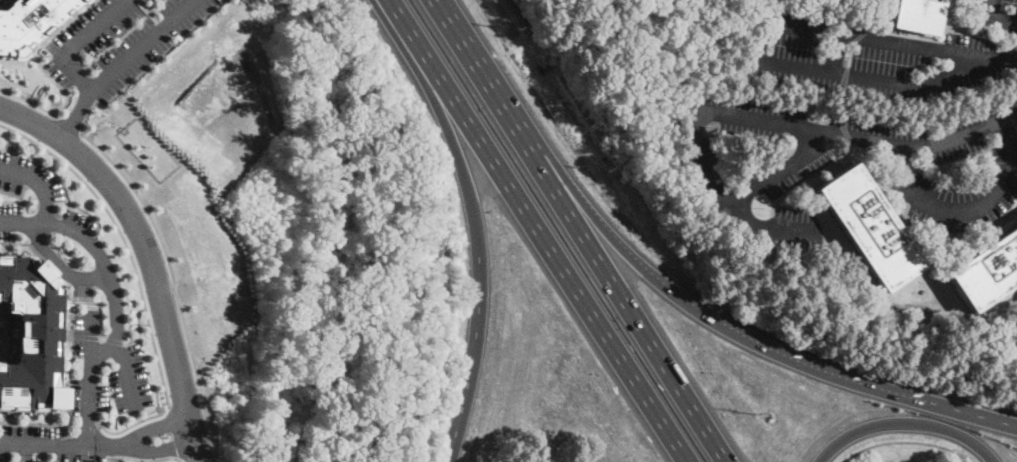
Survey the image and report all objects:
road: (397, 11)
parking lot: (995, 13)
building: (916, 16)
road: (996, 17)
building: (26, 20)
parking lot: (118, 42)
road: (758, 51)
road: (36, 54)
road: (990, 56)
parking lot: (863, 58)
road: (476, 59)
road: (17, 87)
road: (94, 90)
road: (28, 99)
road: (76, 116)
road: (102, 119)
road: (67, 122)
road: (858, 138)
road: (784, 170)
parking lot: (946, 172)
parking lot: (28, 176)
road: (43, 179)
road: (17, 193)
road: (723, 197)
road: (971, 210)
road: (593, 214)
road: (111, 218)
parking lot: (10, 219)
building: (869, 227)
road: (477, 238)
road: (545, 242)
road: (150, 252)
road: (60, 264)
road: (47, 266)
road: (170, 268)
building: (987, 271)
road: (623, 290)
road: (113, 297)
parking lot: (85, 331)
building: (28, 335)
road: (96, 335)
road: (3, 355)
road: (126, 371)
road: (829, 374)
parking lot: (129, 380)
parking lot: (86, 395)
road: (167, 398)
road: (66, 400)
road: (66, 423)
road: (905, 423)
road: (1003, 423)
road: (88, 424)
road: (150, 428)
parking lot: (25, 440)
road: (56, 444)
road: (154, 448)
road: (23, 453)
parking lot: (81, 454)
building: (36, 460)

